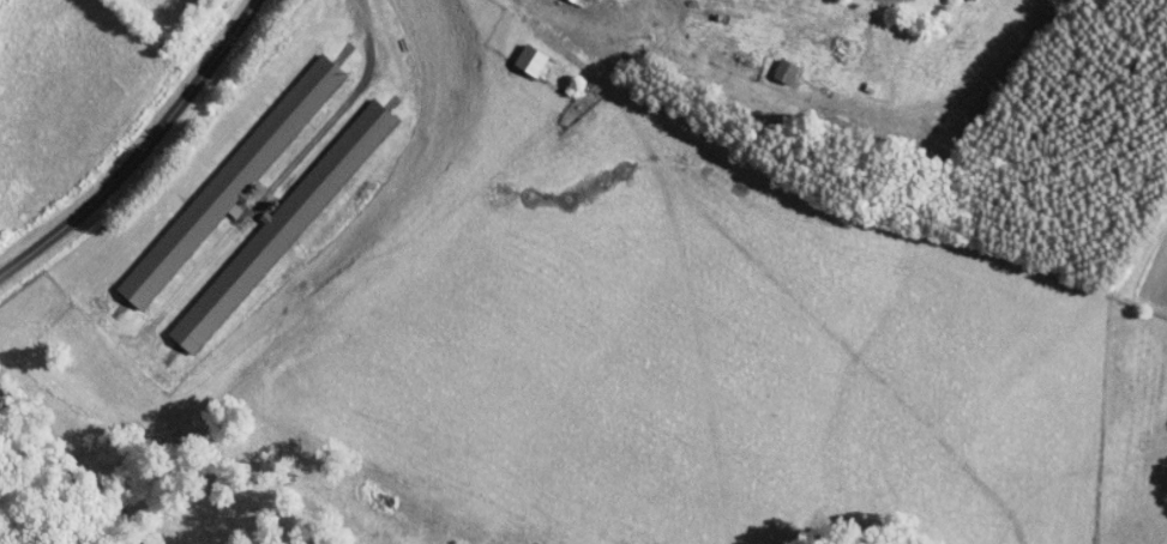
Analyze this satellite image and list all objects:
building: (581, 1)
building: (536, 60)
road: (144, 151)
building: (229, 182)
building: (278, 225)

